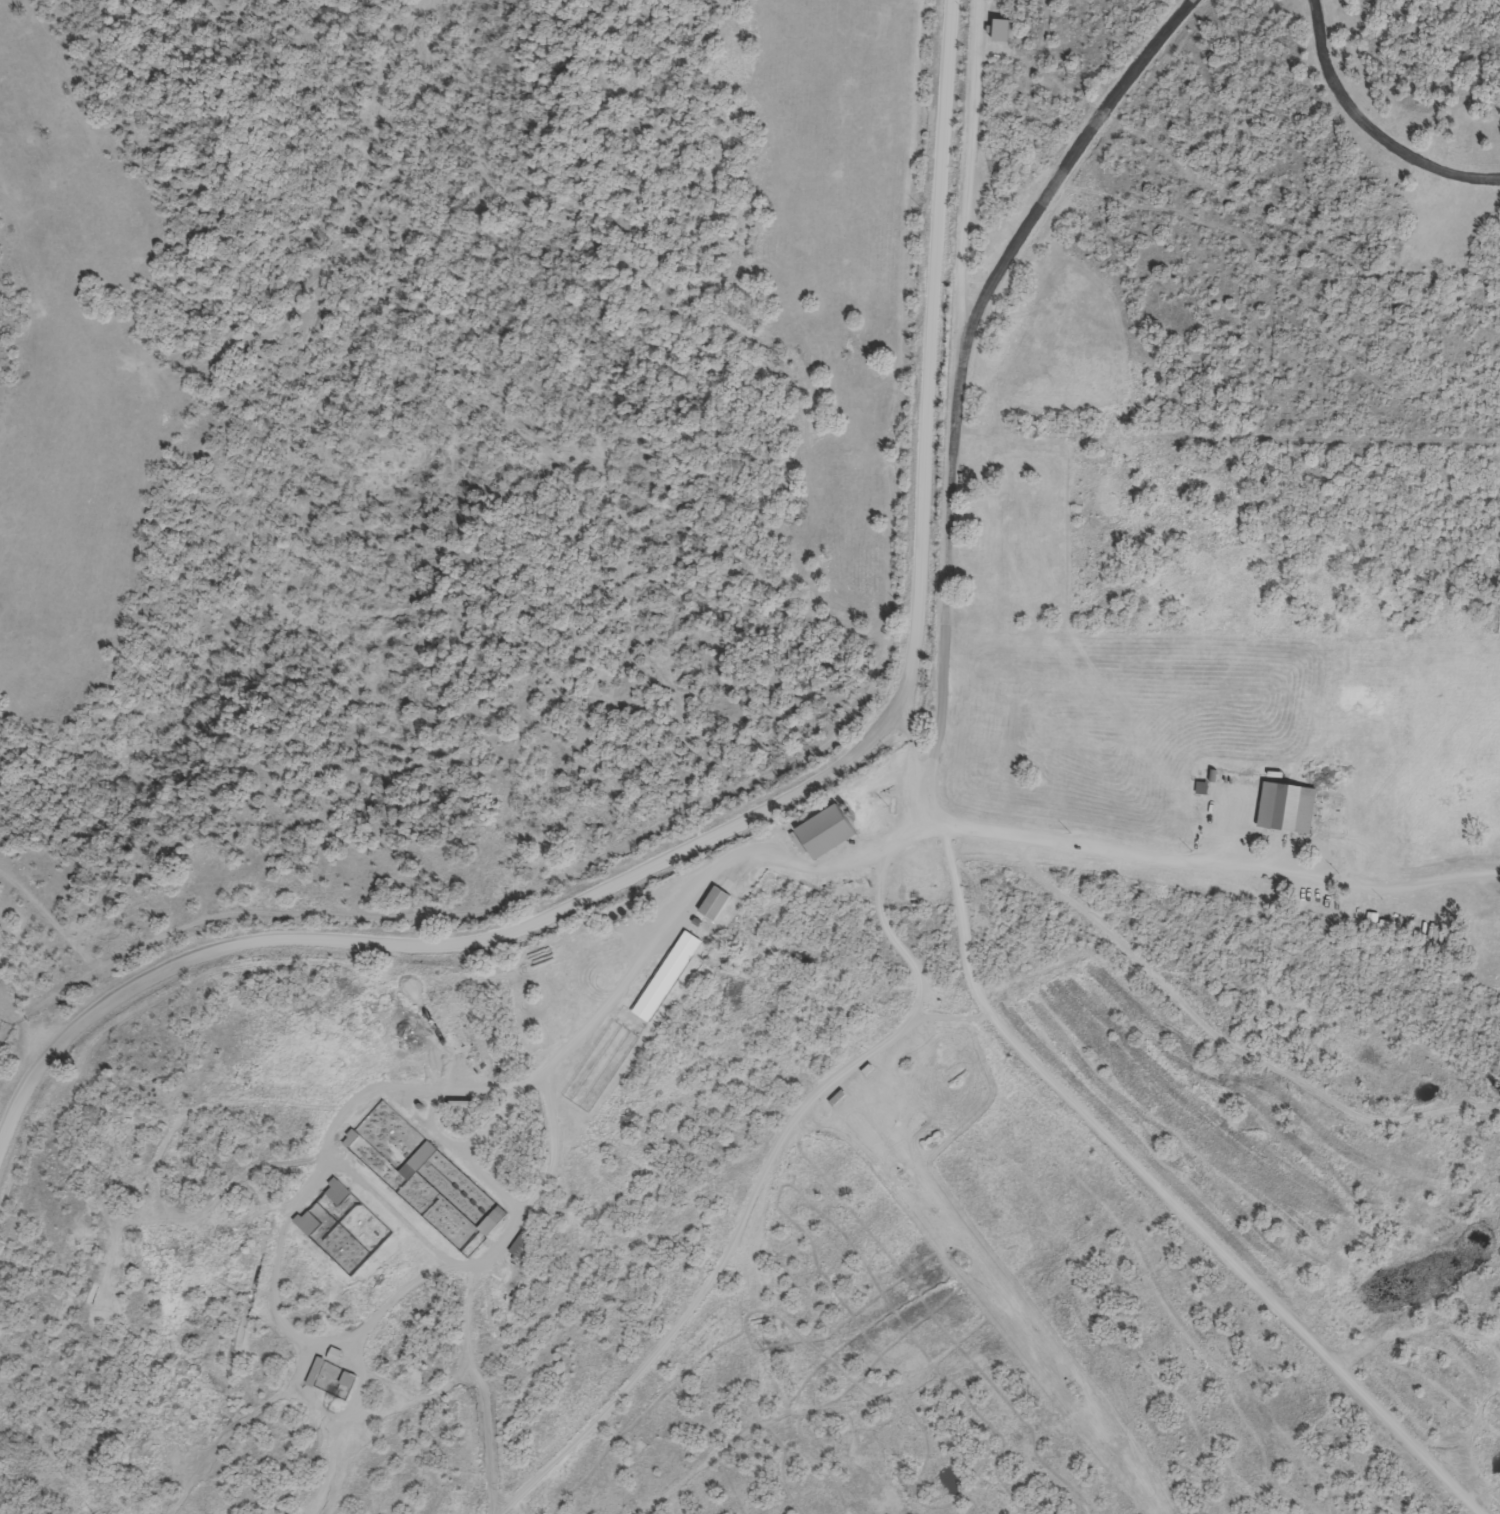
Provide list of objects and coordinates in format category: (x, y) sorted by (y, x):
road: (1374, 123)
road: (969, 363)
building: (1385, 695)
building: (1259, 704)
building: (1013, 721)
building: (1136, 737)
building: (1486, 755)
building: (1285, 806)
road: (764, 818)
building: (825, 831)
road: (913, 834)
building: (1383, 925)
building: (1488, 935)
building: (665, 975)
road: (916, 1016)
road: (25, 1024)
road: (17, 1030)
road: (934, 1056)
road: (1118, 1153)
building: (449, 1186)
building: (324, 1376)

